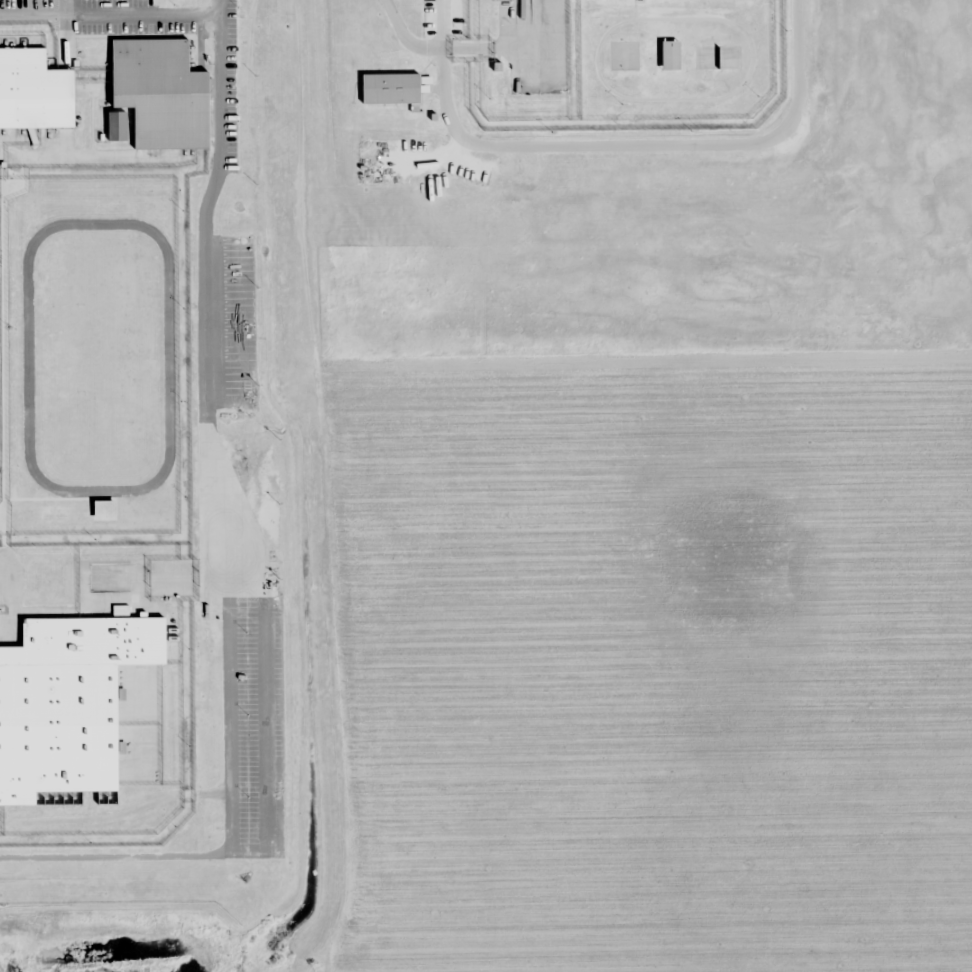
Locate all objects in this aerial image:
building: (668, 55)
building: (730, 59)
building: (388, 89)
building: (34, 90)
building: (162, 93)
building: (118, 126)
building: (78, 216)
building: (80, 285)
building: (80, 354)
building: (81, 422)
road: (310, 486)
building: (81, 491)
building: (80, 706)

